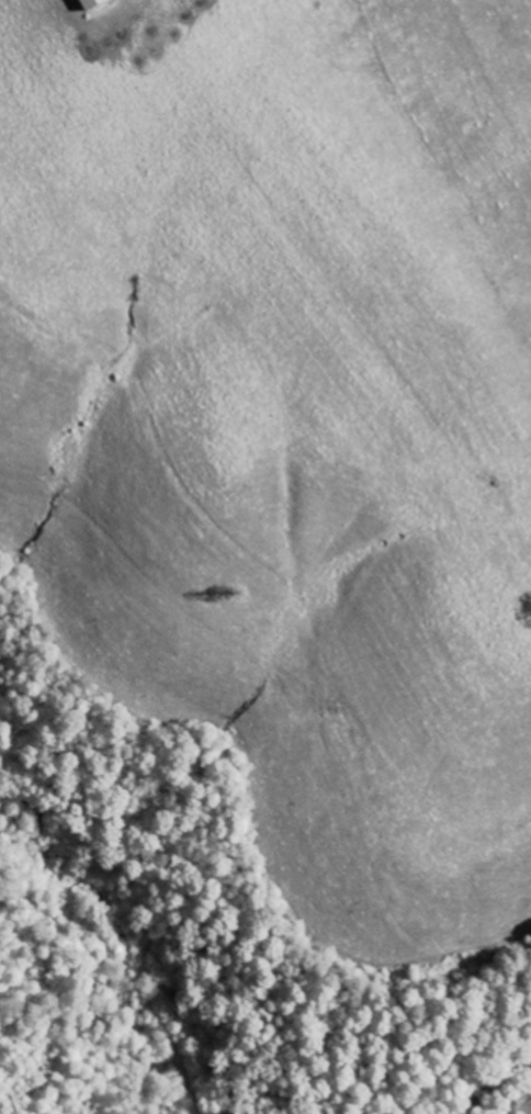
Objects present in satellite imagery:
building: (94, 4)
road: (494, 1083)

